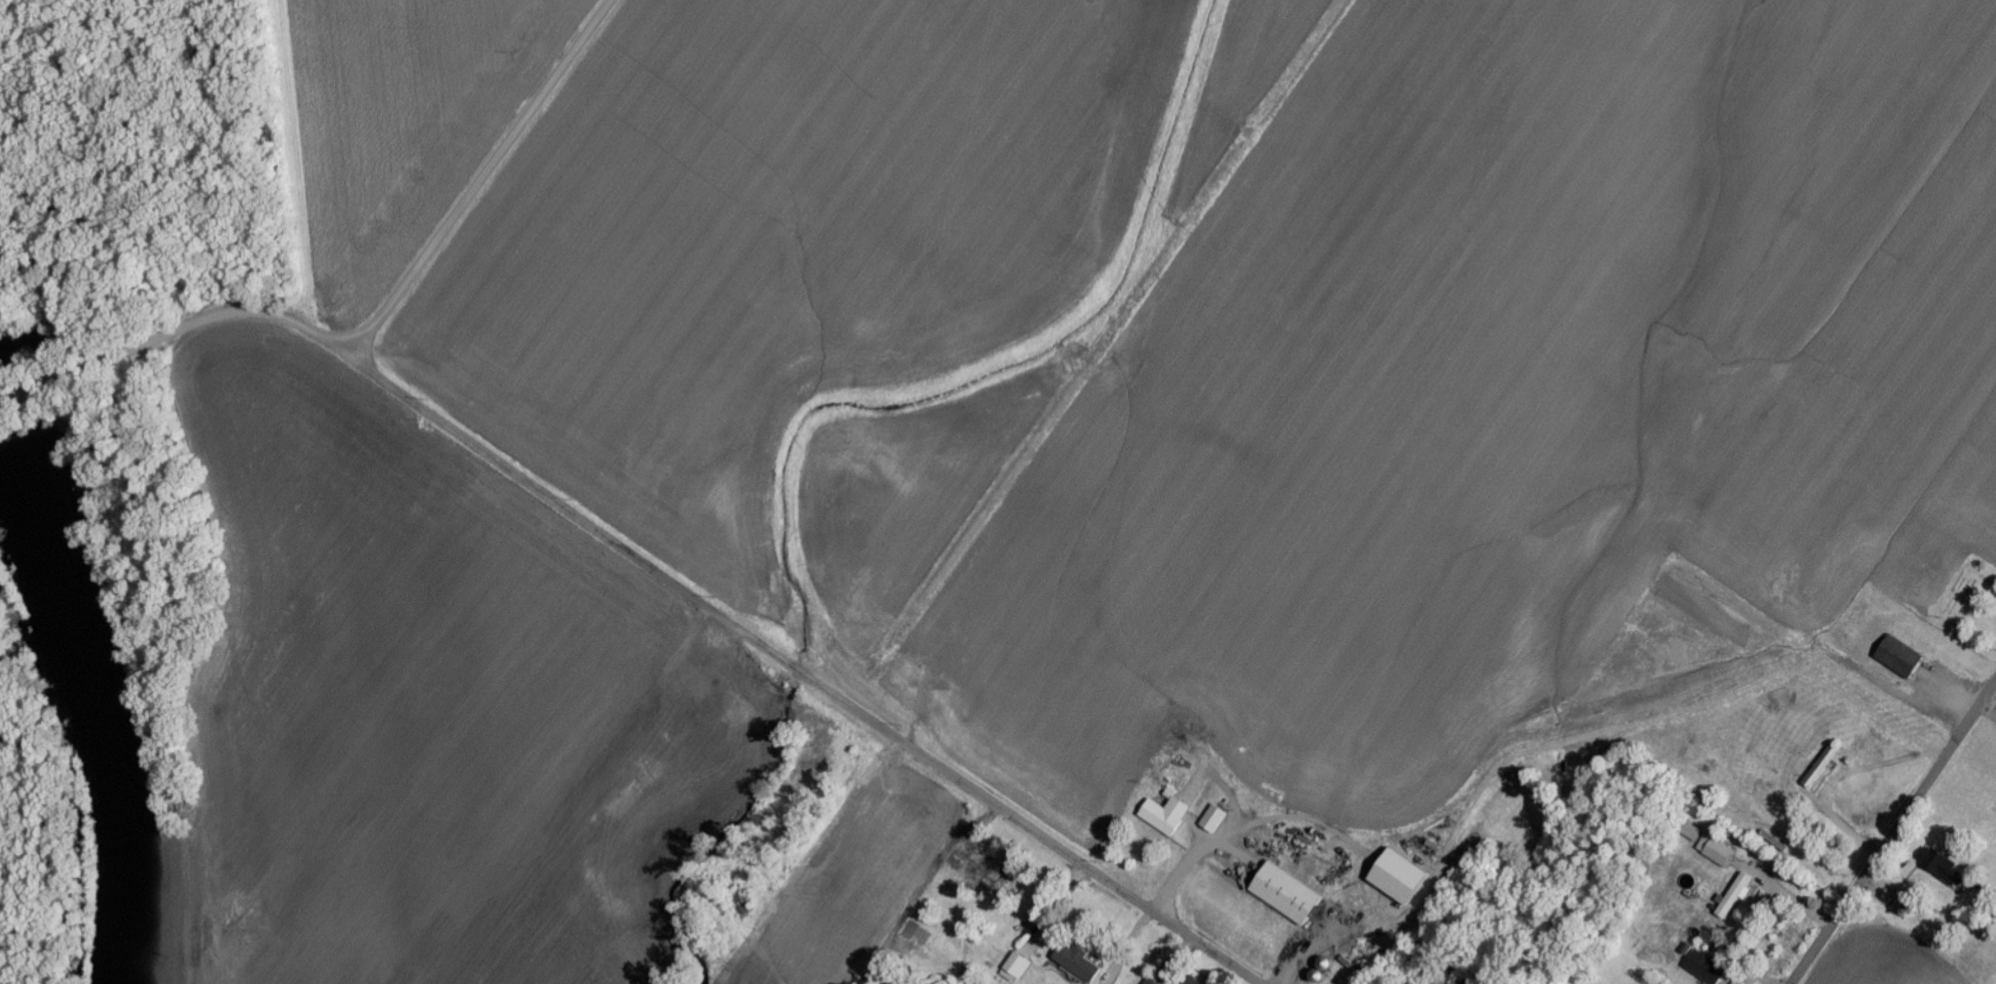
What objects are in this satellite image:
road: (481, 179)
road: (79, 443)
road: (648, 565)
building: (1902, 656)
road: (1988, 711)
building: (1176, 735)
building: (1824, 766)
building: (1167, 814)
building: (1215, 819)
road: (1893, 833)
building: (1711, 844)
building: (1942, 865)
building: (1401, 876)
building: (1288, 893)
road: (1789, 895)
building: (1736, 896)
building: (1905, 904)
building: (1080, 962)
building: (1018, 967)
building: (1708, 968)
building: (1362, 969)
building: (1153, 981)
building: (1196, 981)
building: (1740, 982)

